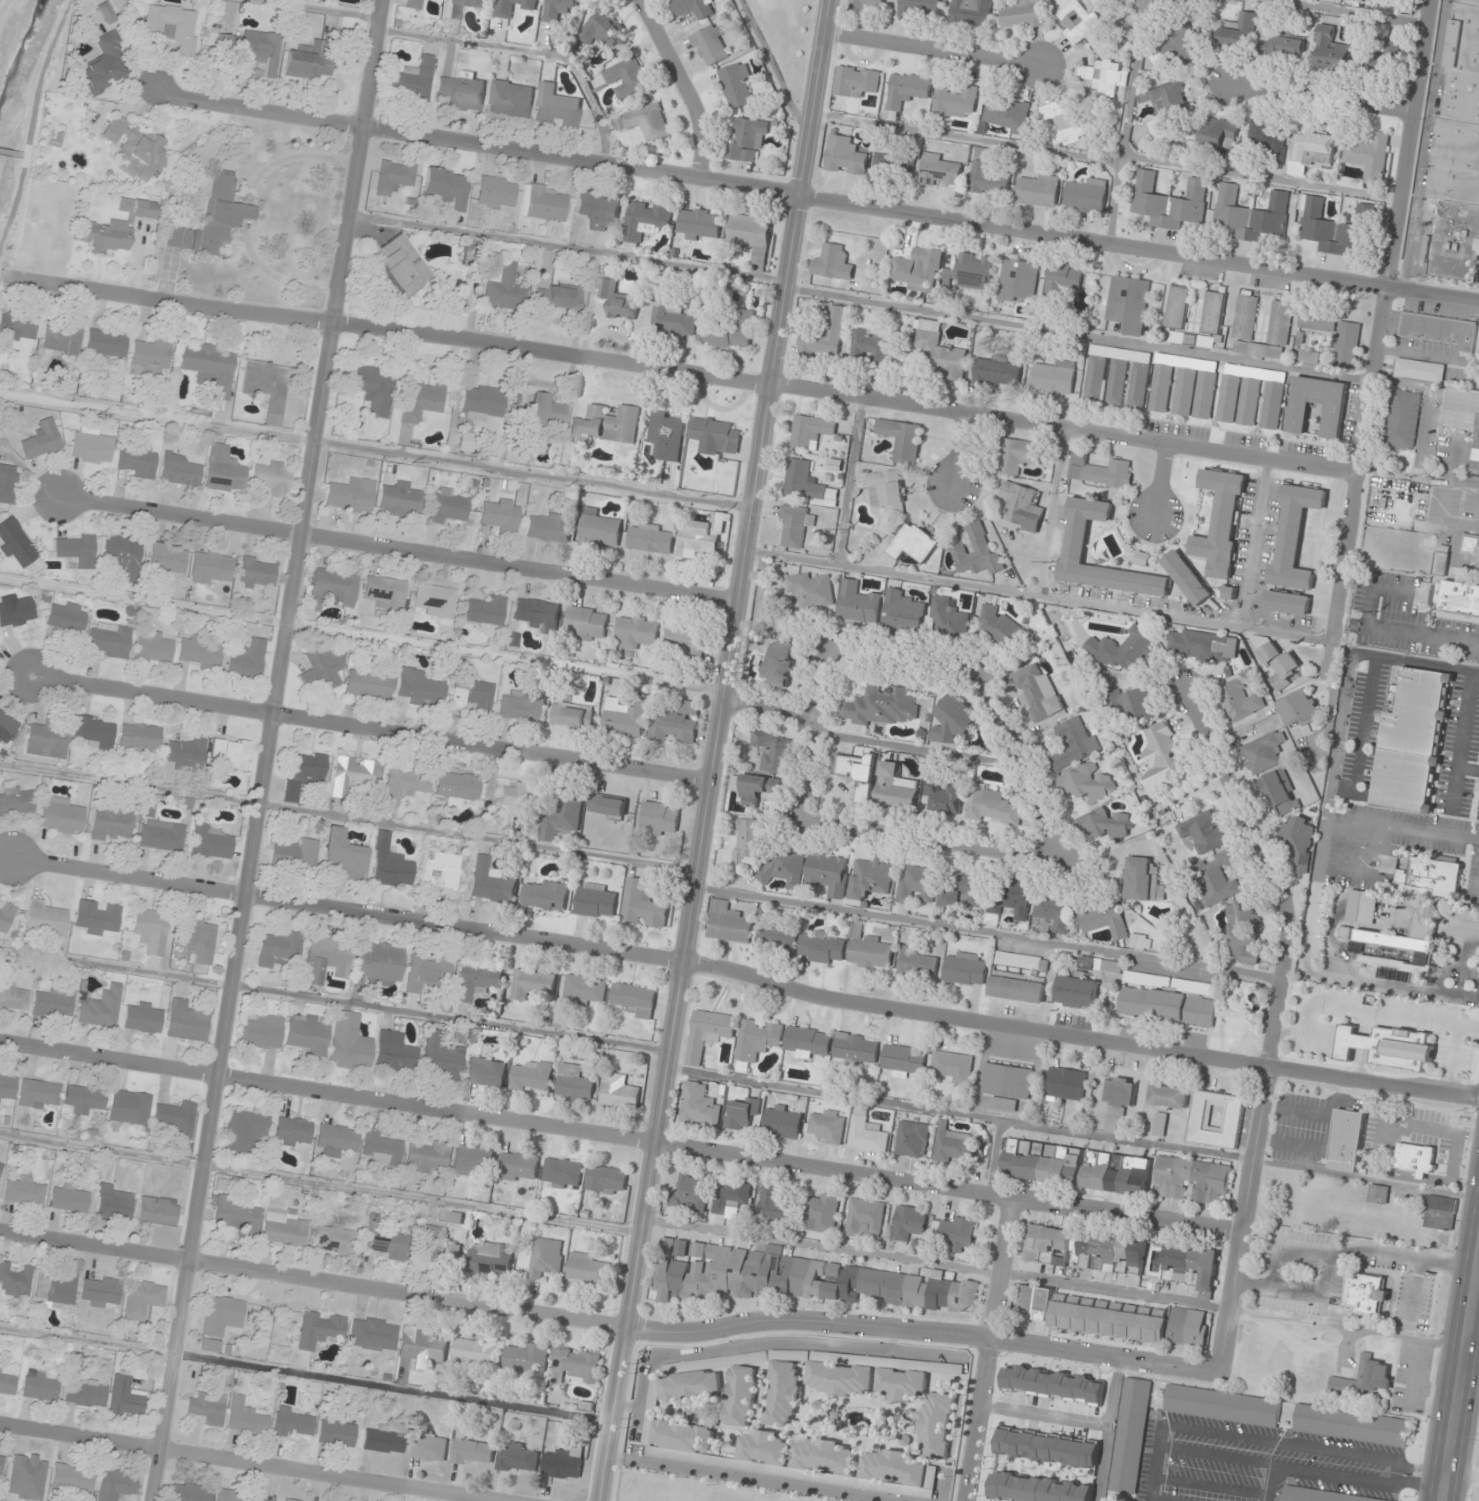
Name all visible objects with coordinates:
building: (1353, 1)
building: (868, 3)
building: (413, 4)
building: (514, 7)
building: (694, 8)
building: (113, 9)
building: (920, 9)
building: (558, 10)
road: (1354, 11)
building: (455, 13)
building: (971, 13)
building: (1021, 15)
building: (1077, 21)
building: (174, 26)
building: (605, 30)
building: (1238, 32)
building: (709, 44)
building: (1281, 44)
road: (936, 47)
building: (1183, 47)
building: (1331, 50)
building: (257, 53)
building: (1383, 59)
building: (308, 60)
building: (104, 65)
park: (10, 70)
building: (627, 77)
building: (1105, 78)
building: (413, 80)
building: (856, 82)
road: (683, 84)
building: (737, 86)
building: (906, 90)
building: (462, 91)
building: (511, 99)
road: (1324, 100)
building: (955, 103)
building: (557, 107)
building: (1167, 109)
building: (1056, 110)
building: (1006, 114)
road: (1124, 121)
building: (642, 122)
building: (1068, 129)
building: (1219, 133)
building: (748, 138)
building: (1268, 139)
building: (135, 146)
building: (1311, 153)
building: (1458, 153)
building: (845, 156)
road: (1108, 156)
building: (1369, 156)
building: (894, 166)
building: (940, 171)
building: (984, 174)
building: (393, 177)
building: (447, 186)
building: (1036, 191)
building: (496, 192)
building: (1086, 196)
road: (820, 197)
building: (1168, 202)
building: (543, 203)
building: (137, 208)
building: (599, 210)
building: (1250, 214)
building: (213, 219)
building: (644, 220)
building: (699, 223)
building: (1327, 229)
building: (106, 236)
building: (751, 236)
building: (833, 263)
building: (401, 265)
building: (919, 269)
building: (974, 271)
building: (1018, 281)
building: (1062, 283)
building: (504, 288)
building: (615, 295)
building: (559, 296)
building: (1128, 304)
building: (1177, 307)
building: (1213, 313)
building: (1244, 317)
building: (671, 319)
road: (1383, 319)
building: (1318, 320)
building: (17, 327)
building: (1438, 330)
building: (729, 331)
building: (1272, 333)
building: (825, 336)
road: (1080, 336)
building: (61, 337)
building: (1190, 339)
building: (106, 344)
building: (872, 346)
building: (1348, 346)
building: (940, 351)
building: (1307, 356)
building: (209, 365)
building: (1420, 370)
building: (995, 371)
road: (687, 374)
building: (1118, 377)
building: (1053, 378)
building: (268, 387)
building: (373, 388)
building: (1161, 388)
building: (1194, 393)
building: (1228, 398)
building: (422, 401)
building: (1248, 401)
building: (483, 402)
building: (1273, 405)
building: (545, 411)
building: (1464, 415)
building: (1334, 417)
building: (1403, 420)
building: (607, 424)
building: (811, 431)
building: (667, 435)
building: (715, 435)
building: (42, 439)
building: (901, 439)
building: (466, 441)
building: (92, 445)
road: (961, 451)
building: (1016, 456)
building: (137, 461)
building: (180, 470)
building: (224, 470)
building: (1100, 472)
building: (273, 478)
road: (1419, 478)
road: (1162, 481)
road: (847, 482)
building: (8, 483)
building: (806, 483)
building: (889, 492)
building: (351, 495)
building: (400, 499)
building: (448, 505)
building: (1022, 506)
road: (1051, 511)
building: (501, 514)
building: (1221, 522)
building: (795, 524)
building: (549, 526)
building: (599, 529)
building: (1294, 535)
building: (703, 536)
building: (651, 539)
building: (16, 542)
road: (1255, 542)
building: (913, 543)
building: (1075, 544)
building: (1470, 547)
building: (76, 549)
road: (401, 549)
building: (978, 553)
building: (123, 556)
building: (167, 557)
building: (1141, 559)
building: (1441, 560)
building: (212, 566)
building: (1478, 568)
building: (257, 572)
building: (1187, 578)
building: (332, 587)
building: (813, 589)
building: (385, 592)
building: (1230, 593)
road: (1040, 594)
building: (1458, 597)
building: (436, 599)
building: (1287, 602)
building: (858, 604)
building: (16, 609)
building: (486, 611)
building: (903, 613)
building: (538, 614)
building: (66, 616)
road: (1424, 616)
building: (949, 619)
building: (586, 624)
road: (1376, 628)
building: (1002, 630)
building: (636, 631)
building: (109, 639)
building: (687, 640)
building: (1202, 645)
building: (153, 647)
building: (1123, 650)
building: (199, 651)
building: (249, 659)
building: (779, 664)
building: (1280, 664)
building: (323, 669)
road: (970, 670)
road: (1349, 670)
building: (369, 684)
building: (420, 688)
building: (1038, 691)
building: (472, 693)
building: (1239, 700)
building: (1133, 704)
building: (522, 706)
building: (881, 706)
road: (772, 708)
building: (1300, 709)
building: (572, 715)
building: (624, 717)
building: (953, 720)
road: (1465, 720)
building: (676, 724)
road: (369, 726)
building: (7, 727)
building: (96, 731)
building: (140, 738)
building: (47, 741)
building: (1411, 741)
building: (1073, 744)
road: (716, 750)
road: (272, 751)
road: (921, 751)
building: (773, 752)
building: (1264, 752)
building: (187, 753)
building: (230, 753)
building: (1161, 760)
building: (305, 774)
building: (354, 774)
building: (859, 775)
road: (1455, 779)
building: (406, 783)
building: (1087, 783)
building: (457, 788)
building: (758, 788)
building: (896, 788)
building: (1280, 793)
building: (943, 797)
building: (15, 799)
building: (607, 806)
building: (991, 806)
building: (508, 807)
building: (61, 816)
building: (562, 816)
building: (659, 818)
building: (110, 822)
building: (1106, 824)
building: (1203, 831)
road: (884, 832)
building: (161, 835)
building: (211, 842)
building: (747, 842)
building: (1300, 842)
road: (1349, 845)
building: (296, 853)
building: (345, 854)
building: (390, 864)
building: (784, 868)
building: (440, 872)
building: (722, 872)
building: (828, 874)
road: (1372, 874)
building: (1432, 875)
building: (871, 878)
building: (1137, 878)
building: (1217, 878)
building: (491, 882)
building: (917, 885)
building: (963, 891)
building: (544, 895)
building: (595, 901)
building: (642, 905)
building: (1031, 905)
road: (1312, 906)
building: (1362, 907)
road: (1408, 915)
building: (97, 916)
building: (6, 917)
building: (47, 919)
building: (1105, 920)
road: (1335, 923)
building: (728, 924)
building: (152, 930)
road: (987, 930)
building: (1346, 932)
building: (1242, 935)
building: (777, 936)
building: (200, 939)
building: (823, 947)
building: (279, 949)
building: (869, 951)
building: (1400, 951)
building: (327, 958)
building: (380, 963)
road: (1463, 963)
building: (918, 964)
building: (965, 969)
building: (427, 972)
road: (745, 975)
building: (478, 979)
building: (531, 984)
building: (1017, 987)
building: (1201, 989)
building: (584, 991)
building: (1077, 992)
building: (14, 996)
building: (634, 1000)
building: (54, 1002)
building: (101, 1007)
building: (143, 1017)
building: (560, 1018)
building: (187, 1021)
road: (1272, 1023)
building: (263, 1032)
building: (707, 1034)
building: (308, 1035)
building: (757, 1039)
building: (809, 1042)
building: (349, 1043)
building: (1388, 1047)
building: (856, 1050)
building: (395, 1053)
building: (442, 1057)
building: (903, 1060)
building: (953, 1067)
building: (486, 1072)
building: (532, 1076)
building: (1007, 1081)
building: (574, 1083)
building: (1066, 1084)
building: (7, 1087)
building: (619, 1091)
building: (38, 1093)
building: (1168, 1097)
building: (84, 1098)
building: (1119, 1102)
building: (698, 1106)
building: (130, 1107)
building: (742, 1113)
road: (960, 1113)
building: (177, 1118)
building: (1216, 1119)
building: (783, 1121)
building: (1160, 1125)
building: (826, 1126)
building: (245, 1130)
building: (293, 1132)
building: (94, 1135)
road: (620, 1136)
building: (866, 1136)
building: (337, 1139)
building: (912, 1139)
building: (1347, 1141)
building: (951, 1144)
building: (383, 1148)
road: (991, 1155)
building: (428, 1157)
building: (1416, 1158)
building: (471, 1159)
building: (1, 1166)
building: (519, 1166)
building: (1076, 1167)
building: (562, 1173)
building: (606, 1180)
building: (1192, 1180)
building: (1320, 1182)
building: (24, 1191)
building: (691, 1192)
building: (1378, 1194)
building: (731, 1197)
building: (69, 1199)
building: (114, 1203)
building: (774, 1204)
building: (158, 1210)
building: (822, 1213)
building: (1440, 1213)
building: (237, 1215)
building: (456, 1218)
building: (865, 1219)
building: (909, 1223)
building: (285, 1227)
building: (956, 1233)
building: (336, 1240)
building: (388, 1240)
building: (437, 1248)
building: (1085, 1250)
building: (546, 1257)
building: (491, 1259)
road: (936, 1264)
building: (1191, 1265)
building: (589, 1271)
building: (16, 1279)
building: (811, 1280)
building: (56, 1286)
building: (99, 1291)
building: (1367, 1296)
building: (144, 1299)
building: (1036, 1303)
building: (220, 1320)
building: (1131, 1321)
road: (607, 1325)
building: (319, 1329)
building: (374, 1334)
road: (1474, 1335)
building: (422, 1347)
road: (987, 1348)
building: (476, 1352)
building: (526, 1359)
building: (580, 1364)
building: (910, 1378)
building: (840, 1379)
building: (1363, 1380)
building: (7, 1382)
building: (1054, 1385)
building: (40, 1386)
road: (1461, 1388)
building: (784, 1392)
building: (85, 1393)
building: (742, 1396)
building: (126, 1397)
building: (1223, 1405)
building: (208, 1407)
building: (246, 1418)
building: (293, 1422)
building: (666, 1424)
building: (937, 1425)
building: (1351, 1425)
building: (336, 1432)
building: (1130, 1435)
building: (383, 1440)
building: (428, 1448)
building: (1048, 1448)
building: (473, 1452)
building: (519, 1459)
building: (1, 1463)
building: (565, 1463)
road: (248, 1464)
building: (897, 1469)
building: (27, 1476)
building: (72, 1478)
building: (115, 1484)
building: (1037, 1488)
building: (189, 1492)
building: (1323, 1495)
building: (230, 1496)
building: (289, 1499)

